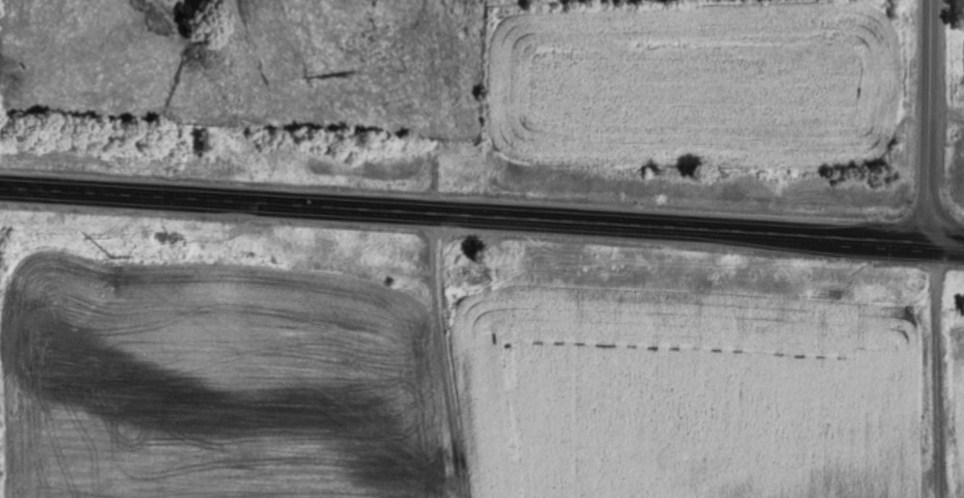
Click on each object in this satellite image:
road: (930, 122)
road: (482, 215)
power tower: (112, 255)
road: (937, 371)

